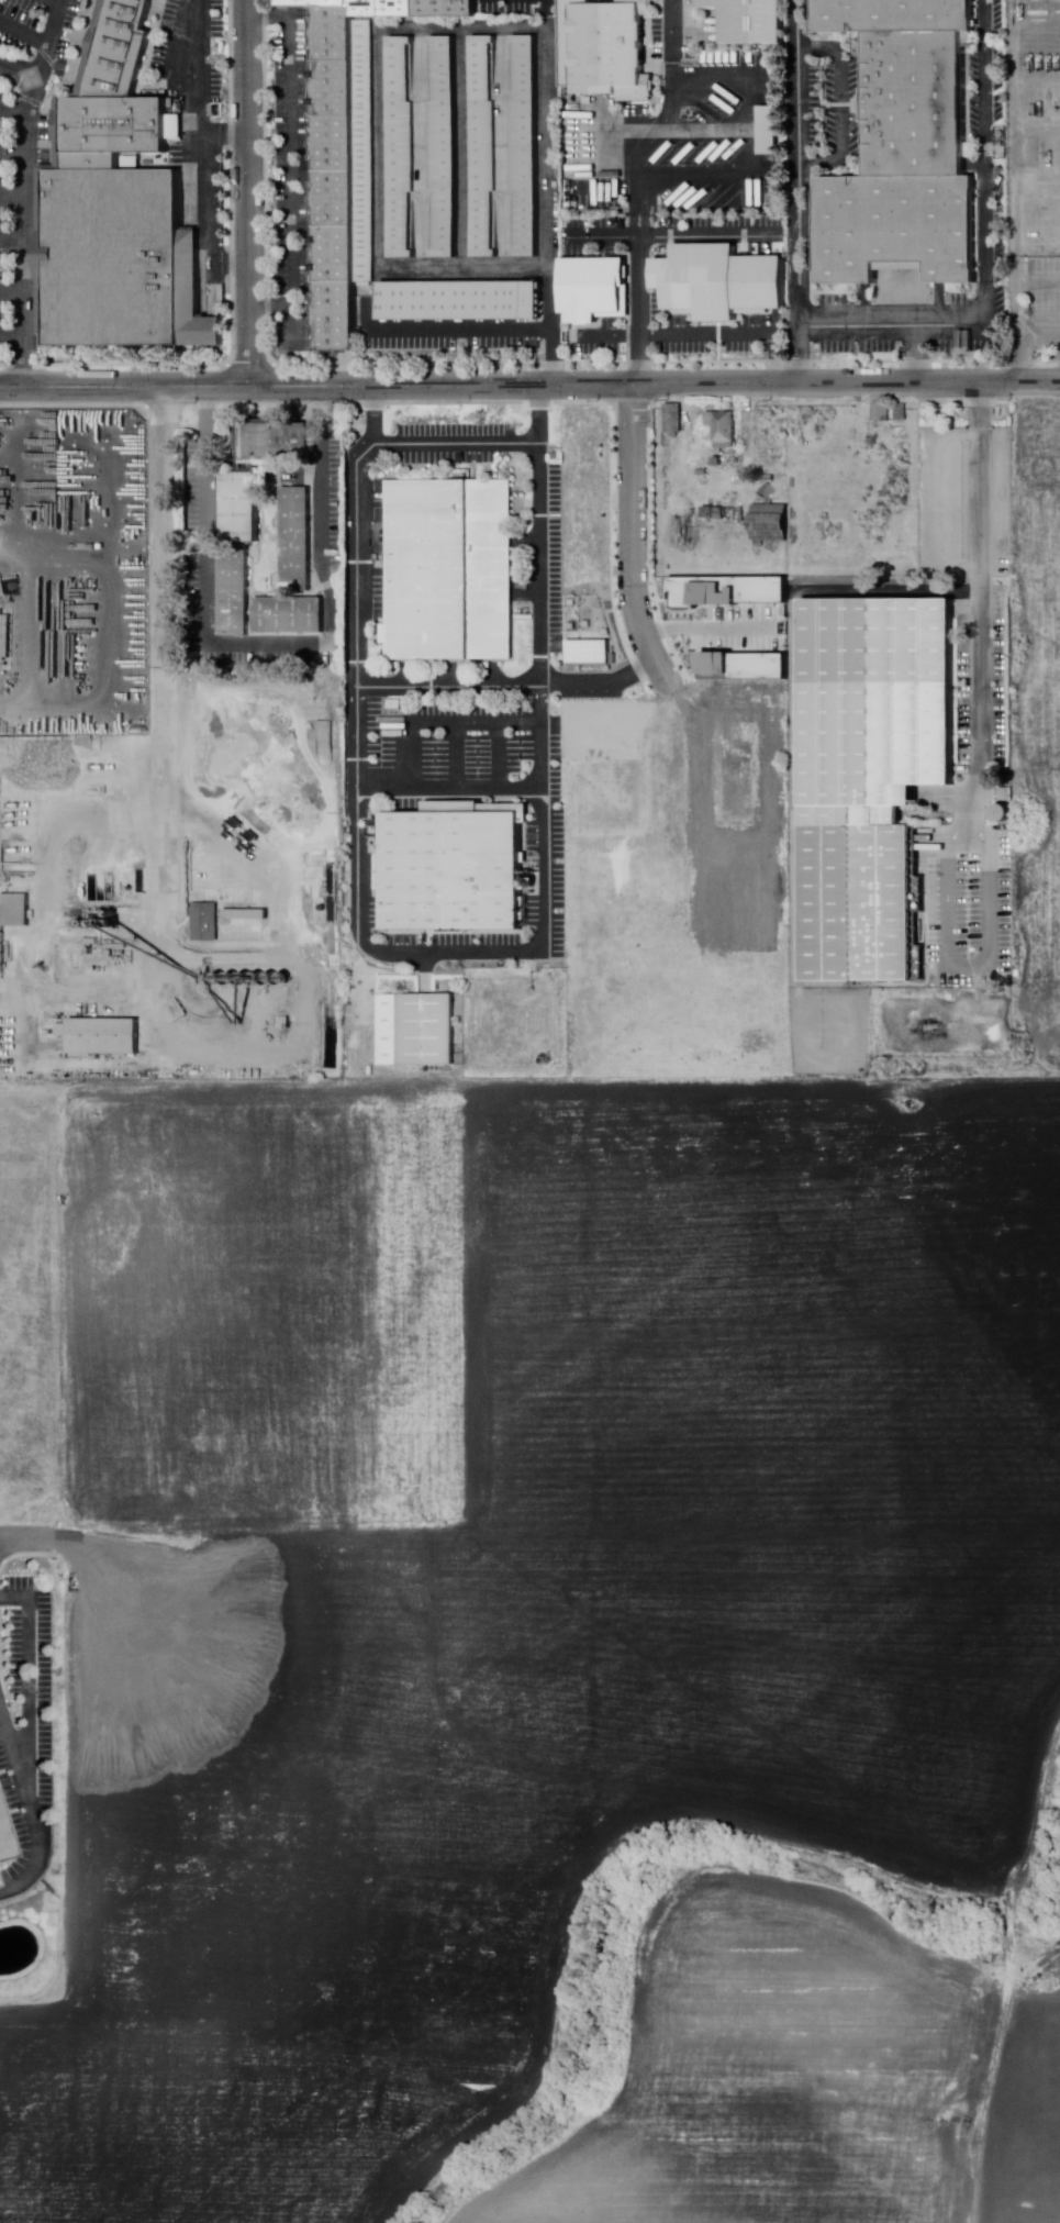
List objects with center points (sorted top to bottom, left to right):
road: (54, 1)
building: (315, 3)
building: (415, 9)
building: (750, 21)
parking lot: (37, 29)
road: (23, 30)
road: (670, 31)
building: (335, 33)
road: (46, 41)
building: (607, 48)
building: (116, 49)
parking lot: (181, 49)
building: (336, 88)
road: (840, 104)
road: (14, 111)
road: (658, 119)
building: (760, 130)
building: (771, 131)
road: (223, 135)
building: (334, 144)
building: (444, 146)
building: (484, 147)
building: (527, 147)
building: (907, 147)
road: (14, 148)
building: (402, 148)
road: (203, 151)
building: (365, 152)
road: (747, 157)
road: (291, 158)
parking lot: (291, 181)
road: (795, 192)
road: (14, 193)
road: (249, 193)
building: (335, 197)
road: (29, 216)
parking lot: (7, 229)
building: (116, 235)
road: (670, 235)
road: (14, 240)
building: (337, 254)
road: (989, 257)
building: (722, 282)
building: (596, 289)
road: (14, 292)
road: (637, 300)
building: (461, 301)
road: (1016, 311)
building: (337, 316)
road: (1038, 327)
road: (444, 329)
road: (549, 331)
road: (673, 333)
road: (14, 338)
road: (914, 354)
road: (529, 386)
building: (881, 413)
building: (902, 413)
building: (673, 419)
building: (724, 429)
building: (897, 432)
road: (456, 442)
building: (277, 443)
building: (719, 463)
building: (703, 473)
building: (770, 478)
building: (768, 492)
building: (241, 508)
building: (726, 514)
building: (771, 523)
road: (165, 529)
building: (683, 531)
building: (295, 541)
building: (450, 570)
building: (728, 589)
building: (235, 593)
building: (290, 618)
building: (4, 636)
building: (589, 652)
building: (746, 664)
road: (513, 686)
parking lot: (972, 700)
building: (398, 705)
road: (444, 722)
road: (498, 754)
road: (456, 755)
road: (983, 773)
building: (872, 777)
road: (449, 788)
storage tank: (1004, 815)
road: (169, 833)
building: (198, 870)
building: (455, 870)
building: (15, 912)
building: (246, 915)
building: (205, 923)
building: (116, 947)
road: (449, 953)
building: (284, 1024)
wastewater plant: (518, 1026)
building: (417, 1031)
building: (104, 1038)
road: (18, 1540)
crop: (509, 1578)
road: (31, 1677)
parking lot: (25, 1727)
road: (31, 1812)
building: (3, 1849)
crop: (771, 2068)
road: (986, 2082)
crop: (1023, 2093)

